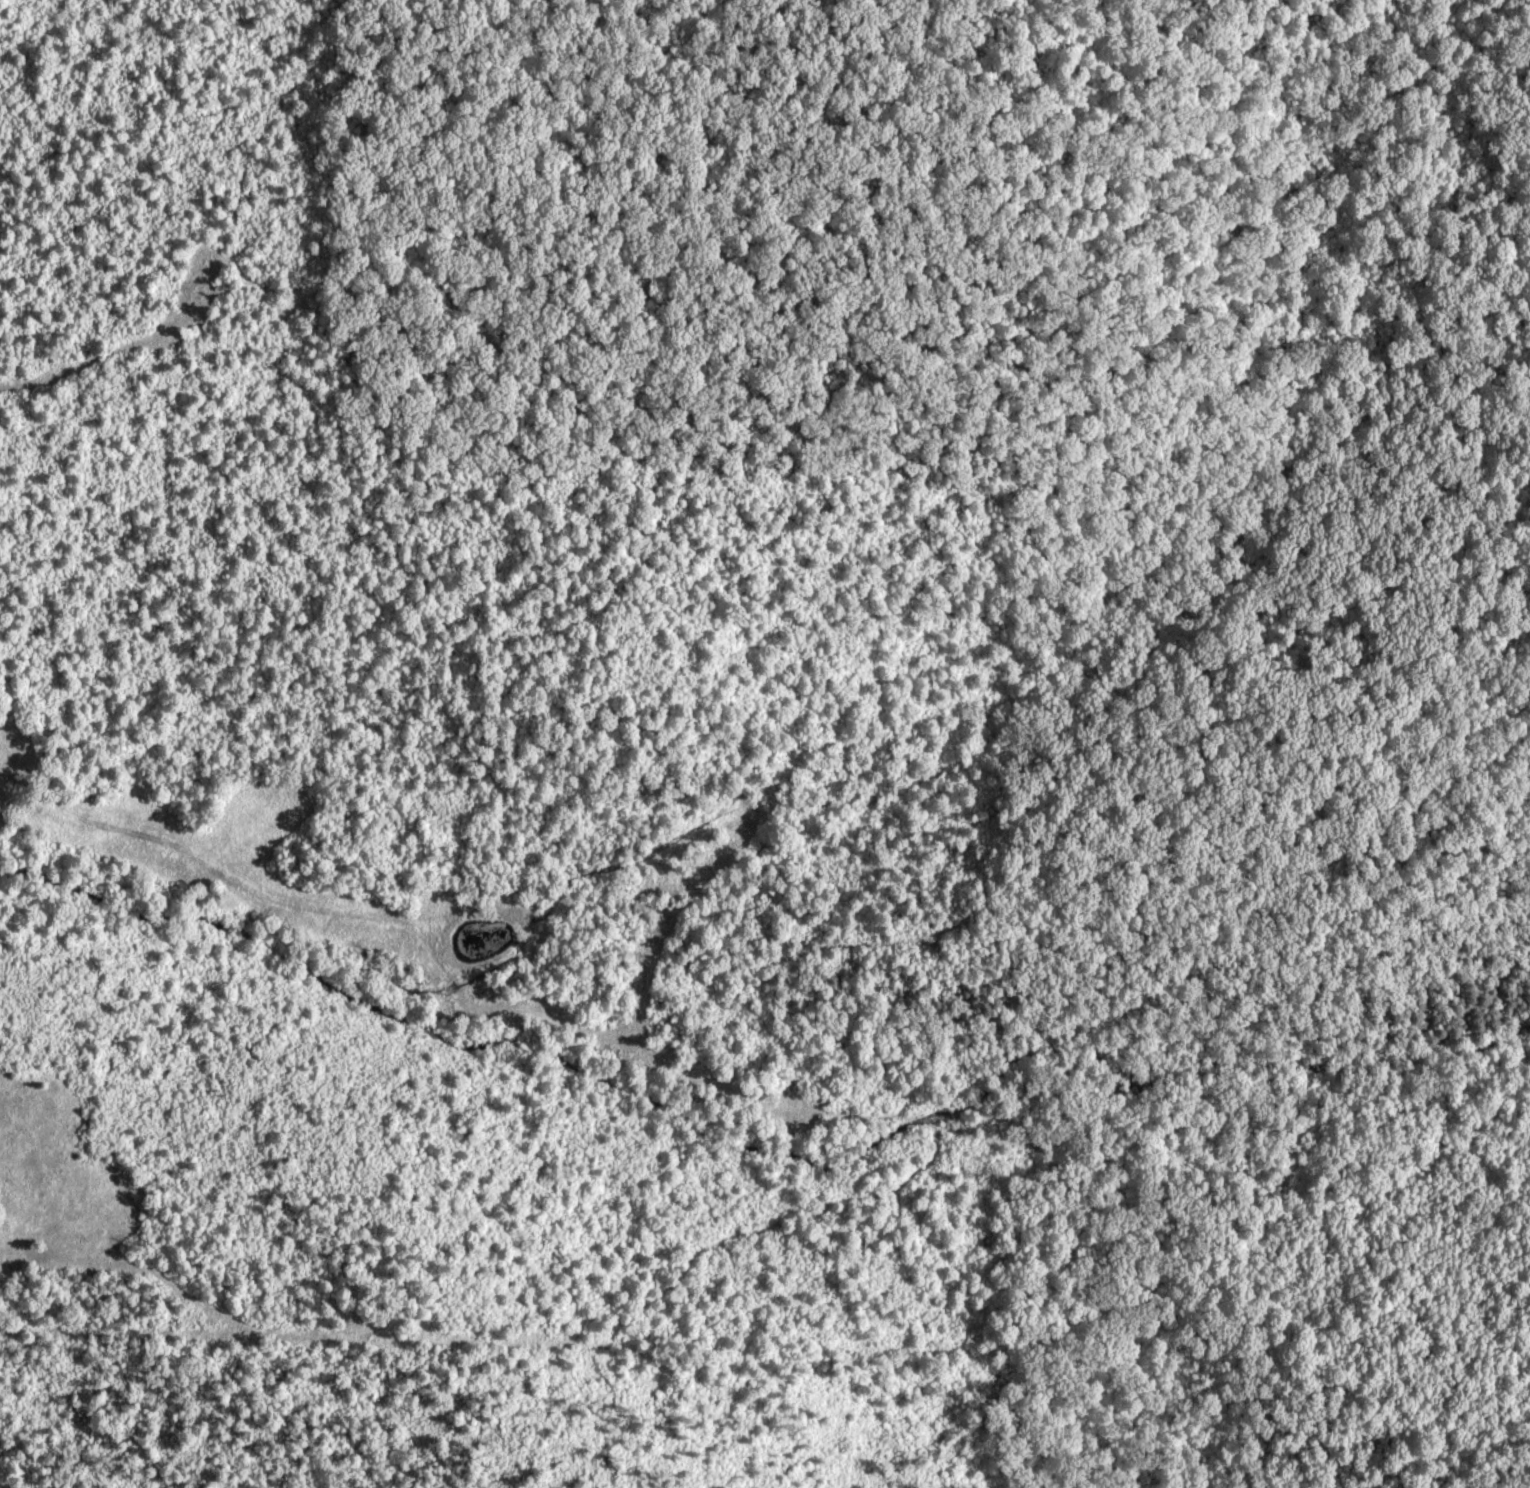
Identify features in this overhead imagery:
road: (1370, 766)

